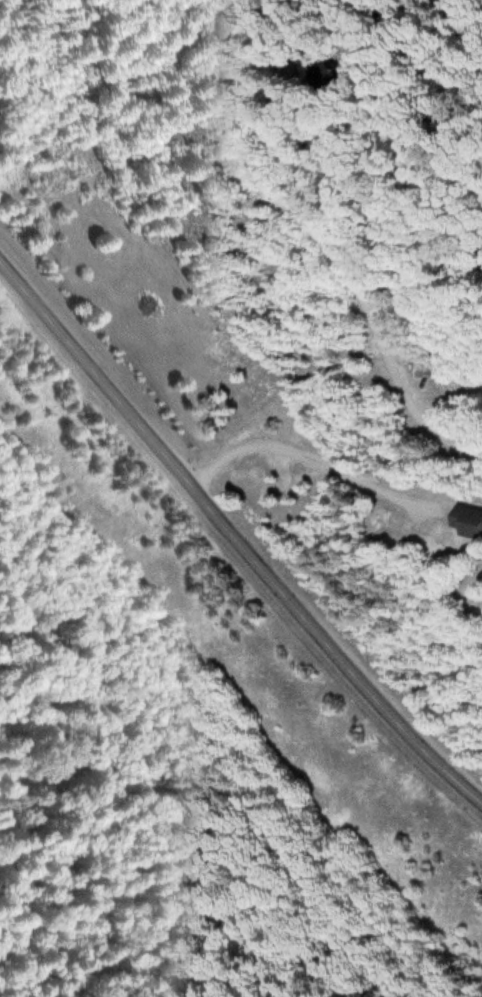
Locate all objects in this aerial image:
road: (445, 119)
building: (469, 522)
road: (236, 536)

